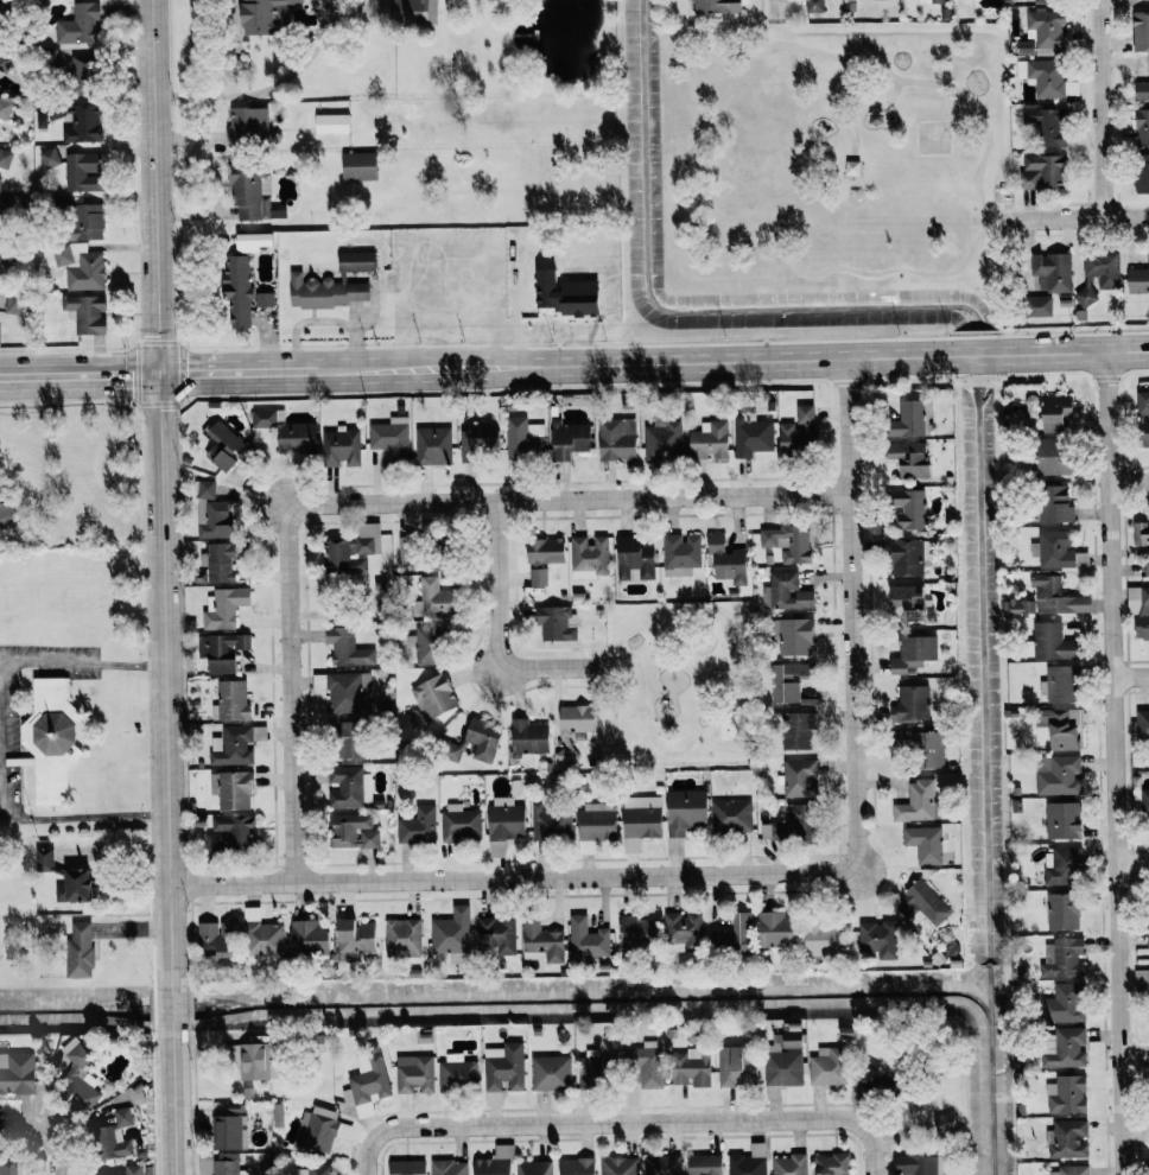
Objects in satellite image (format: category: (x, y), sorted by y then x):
building: (931, 1)
building: (1045, 1)
building: (815, 6)
building: (716, 7)
building: (412, 11)
road: (773, 12)
building: (265, 14)
building: (78, 25)
building: (1140, 31)
road: (761, 32)
building: (1042, 32)
road: (222, 52)
building: (52, 58)
building: (2, 61)
building: (84, 71)
building: (1041, 76)
building: (1142, 88)
road: (850, 93)
road: (894, 93)
road: (250, 94)
building: (5, 108)
road: (1100, 108)
building: (40, 121)
building: (331, 123)
building: (83, 125)
building: (1046, 125)
building: (247, 126)
building: (1142, 126)
road: (852, 135)
park: (933, 138)
park: (831, 155)
building: (5, 158)
building: (47, 158)
building: (358, 166)
building: (1041, 171)
building: (83, 172)
building: (1141, 172)
building: (249, 190)
road: (1073, 217)
road: (992, 220)
building: (87, 222)
building: (252, 241)
building: (78, 266)
building: (1050, 271)
road: (953, 273)
building: (1098, 274)
building: (1138, 279)
building: (331, 284)
building: (236, 290)
building: (264, 299)
building: (12, 304)
building: (1036, 306)
building: (84, 313)
road: (653, 360)
road: (99, 374)
road: (19, 375)
building: (1056, 412)
building: (1143, 418)
building: (910, 420)
building: (798, 431)
building: (284, 434)
building: (751, 436)
building: (391, 437)
building: (523, 438)
building: (664, 438)
building: (569, 439)
building: (617, 439)
building: (476, 440)
building: (709, 442)
building: (224, 446)
building: (432, 446)
building: (341, 449)
building: (1052, 457)
building: (909, 458)
road: (1129, 478)
road: (571, 498)
building: (1054, 503)
building: (909, 508)
building: (211, 513)
building: (6, 514)
building: (1141, 533)
building: (788, 542)
building: (353, 551)
building: (1056, 551)
building: (407, 554)
building: (544, 554)
building: (589, 554)
building: (679, 554)
building: (634, 560)
building: (218, 561)
building: (726, 561)
road: (164, 587)
building: (785, 592)
building: (1056, 597)
building: (436, 598)
building: (908, 601)
building: (1018, 606)
building: (222, 608)
road: (851, 611)
building: (554, 623)
road: (496, 630)
building: (792, 636)
building: (1052, 642)
building: (429, 646)
building: (347, 648)
building: (221, 650)
building: (913, 653)
road: (82, 663)
road: (1131, 675)
building: (788, 681)
building: (1060, 685)
park: (677, 686)
building: (345, 691)
road: (290, 694)
building: (432, 697)
building: (230, 701)
building: (912, 703)
building: (1142, 725)
building: (1060, 728)
building: (573, 729)
park: (729, 729)
building: (798, 730)
building: (50, 739)
building: (348, 739)
building: (527, 739)
building: (475, 742)
building: (231, 745)
building: (923, 745)
road: (1115, 762)
building: (1056, 775)
building: (799, 779)
building: (349, 787)
building: (231, 789)
building: (918, 802)
building: (685, 811)
building: (731, 817)
road: (69, 818)
building: (1061, 820)
building: (550, 822)
building: (459, 824)
building: (503, 824)
building: (640, 824)
building: (595, 825)
building: (792, 825)
building: (417, 826)
building: (353, 832)
building: (230, 834)
building: (923, 844)
building: (43, 859)
road: (1132, 864)
building: (1060, 866)
road: (513, 878)
building: (74, 887)
building: (921, 902)
building: (1062, 912)
building: (639, 931)
building: (776, 931)
building: (684, 932)
building: (451, 934)
building: (1148, 934)
building: (261, 935)
building: (496, 935)
building: (734, 935)
building: (355, 938)
building: (402, 938)
building: (310, 939)
building: (585, 939)
building: (878, 939)
building: (215, 940)
building: (824, 940)
building: (541, 942)
building: (78, 951)
building: (1062, 959)
building: (1141, 978)
building: (1062, 1004)
building: (792, 1039)
building: (1064, 1048)
road: (1134, 1052)
building: (254, 1060)
building: (645, 1062)
building: (736, 1065)
building: (782, 1066)
building: (827, 1066)
building: (503, 1067)
building: (691, 1067)
building: (593, 1071)
building: (17, 1072)
building: (456, 1072)
building: (550, 1072)
building: (414, 1073)
building: (77, 1078)
building: (877, 1081)
building: (366, 1084)
building: (1066, 1095)
building: (944, 1122)
building: (116, 1125)
road: (627, 1125)
building: (320, 1129)
road: (45, 1130)
building: (229, 1132)
building: (1067, 1138)
building: (748, 1161)
building: (494, 1162)
building: (217, 1163)
building: (830, 1163)
building: (661, 1164)
building: (704, 1164)
building: (789, 1164)
building: (919, 1164)
building: (576, 1166)
building: (617, 1166)
building: (7, 1167)
building: (406, 1167)
building: (449, 1167)
building: (533, 1167)
building: (133, 1169)
building: (317, 1169)
road: (874, 1170)
building: (1071, 1170)
building: (21, 1174)

